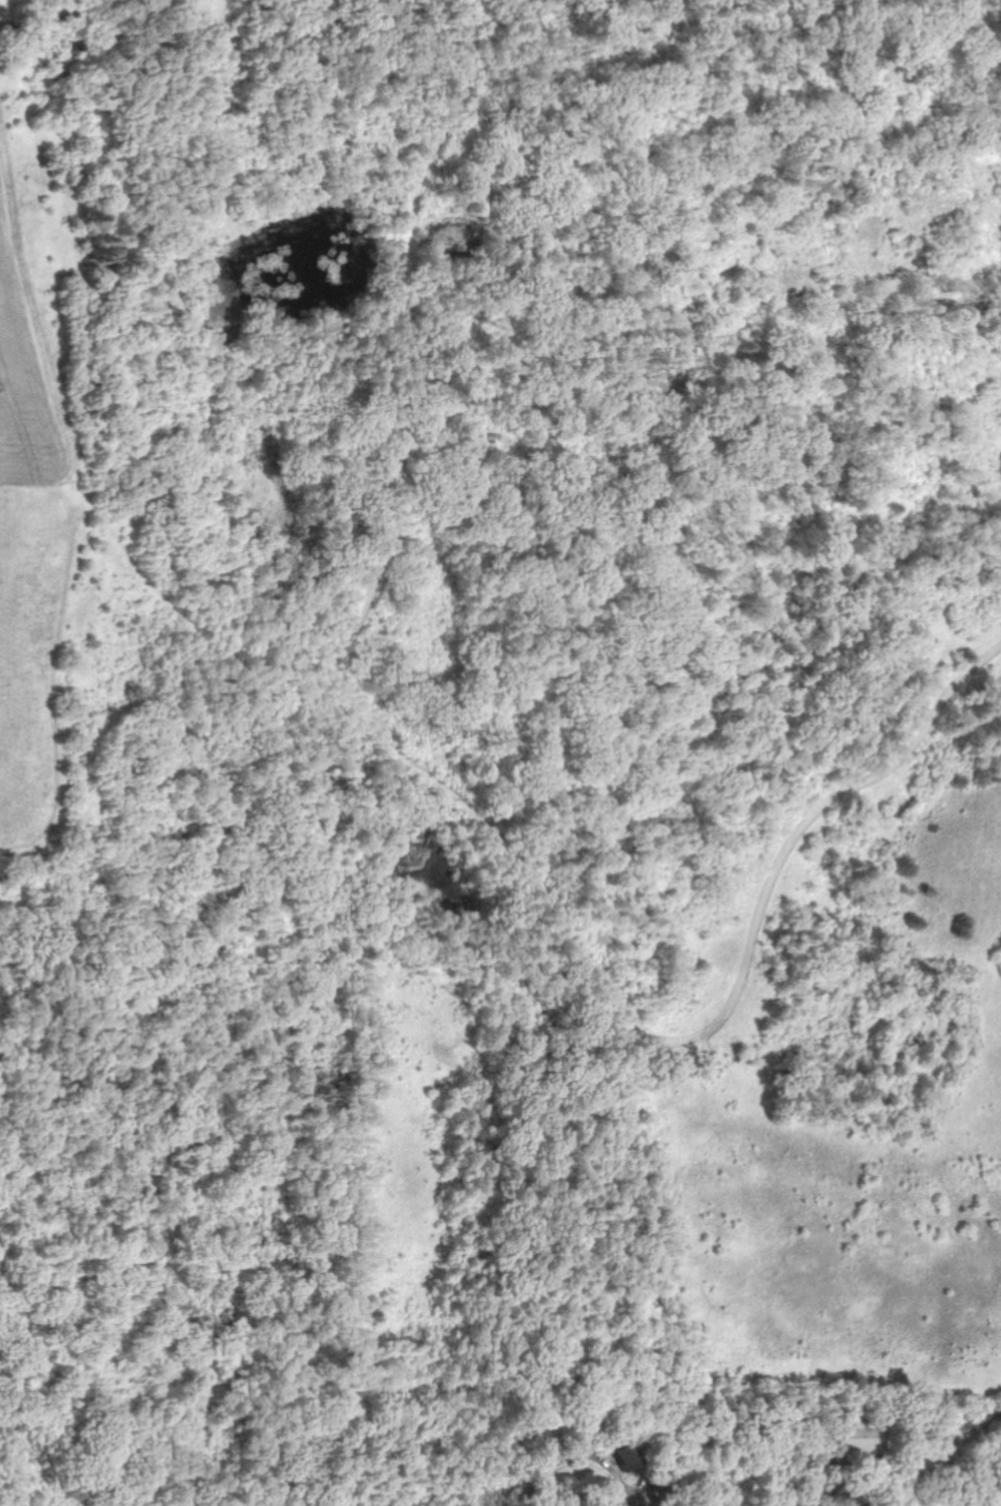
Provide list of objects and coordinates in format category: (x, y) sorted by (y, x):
park: (492, 730)
road: (451, 795)
building: (857, 1438)
building: (627, 1450)

